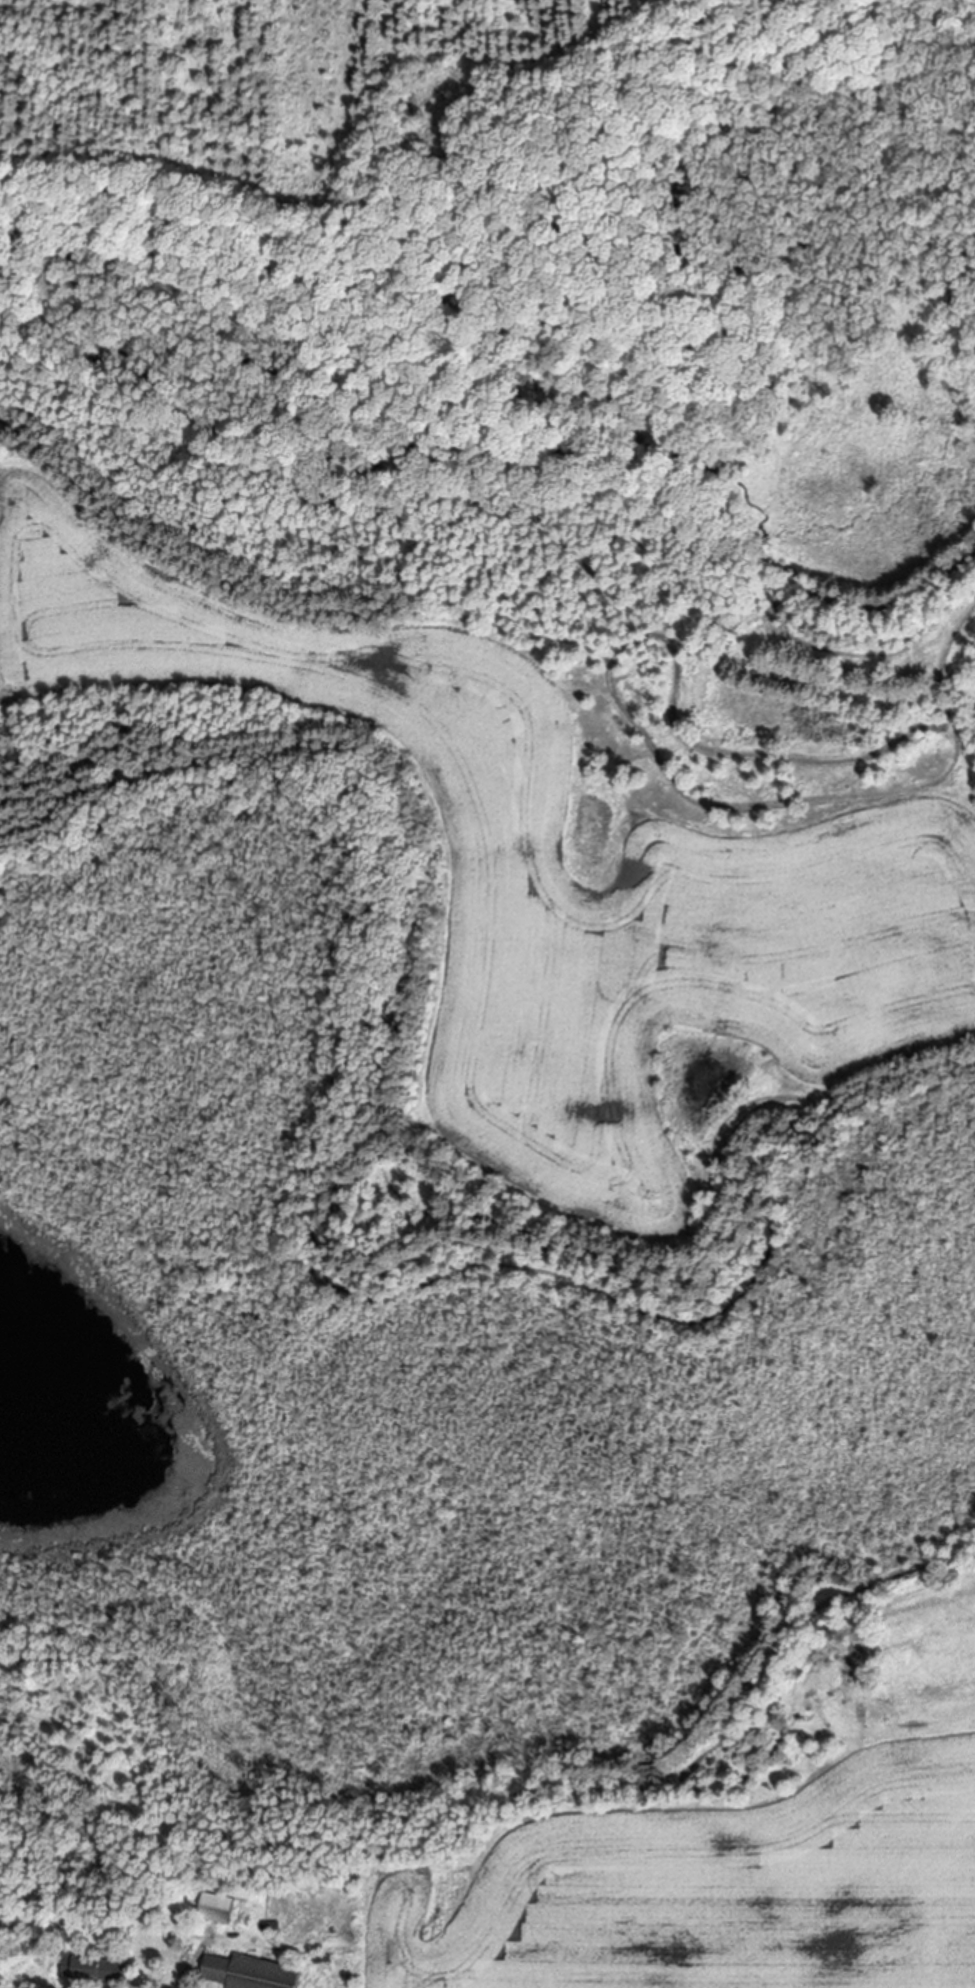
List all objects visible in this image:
building: (215, 1909)
building: (80, 1969)
building: (112, 1972)
building: (248, 1973)

